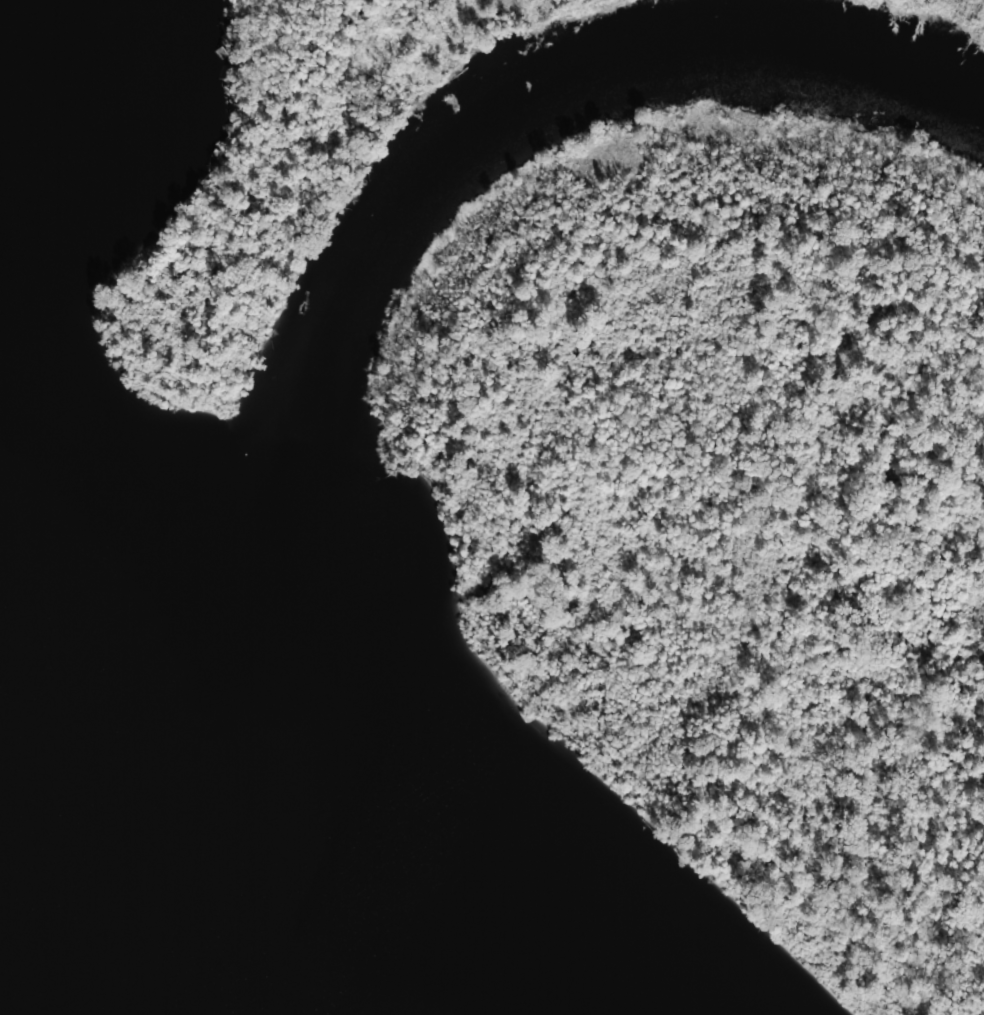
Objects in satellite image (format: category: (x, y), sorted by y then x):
river: (43, 63)
river: (290, 771)

